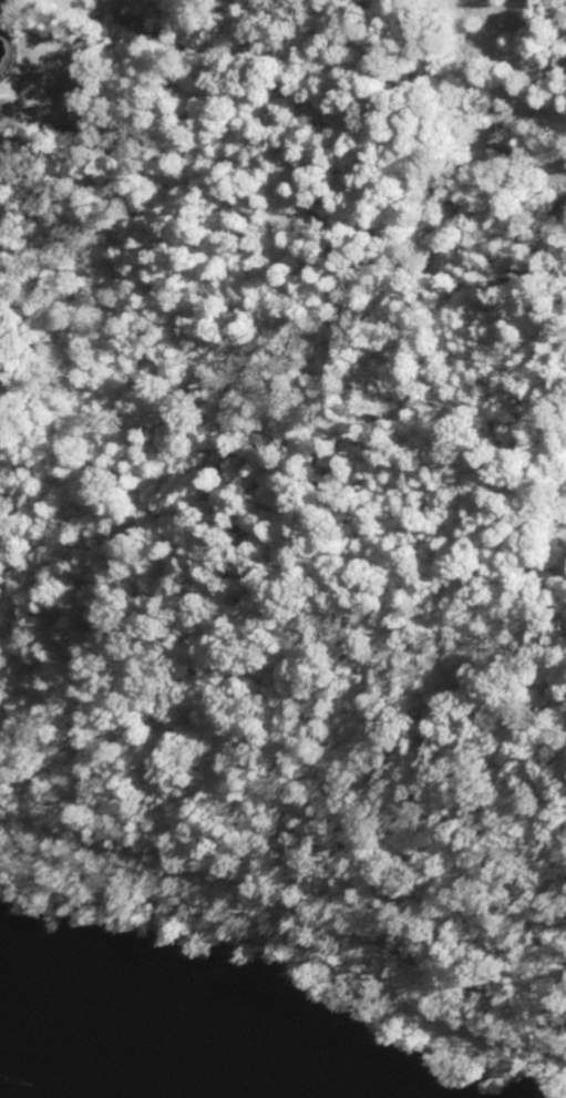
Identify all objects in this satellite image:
building: (4, 1)
road: (288, 905)

